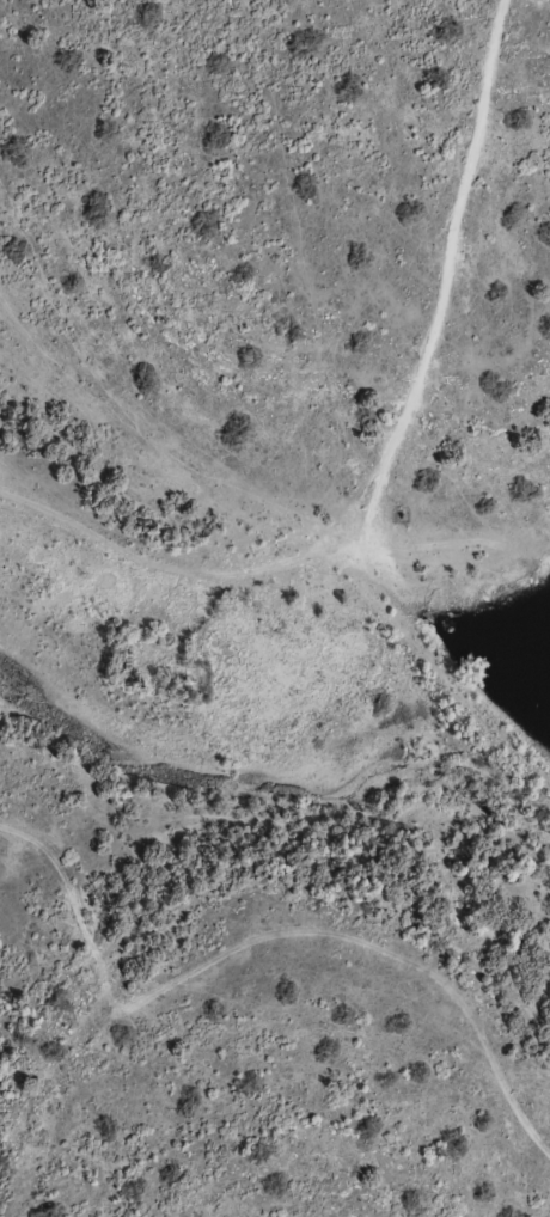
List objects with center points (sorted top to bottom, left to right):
road: (377, 409)
road: (258, 978)

